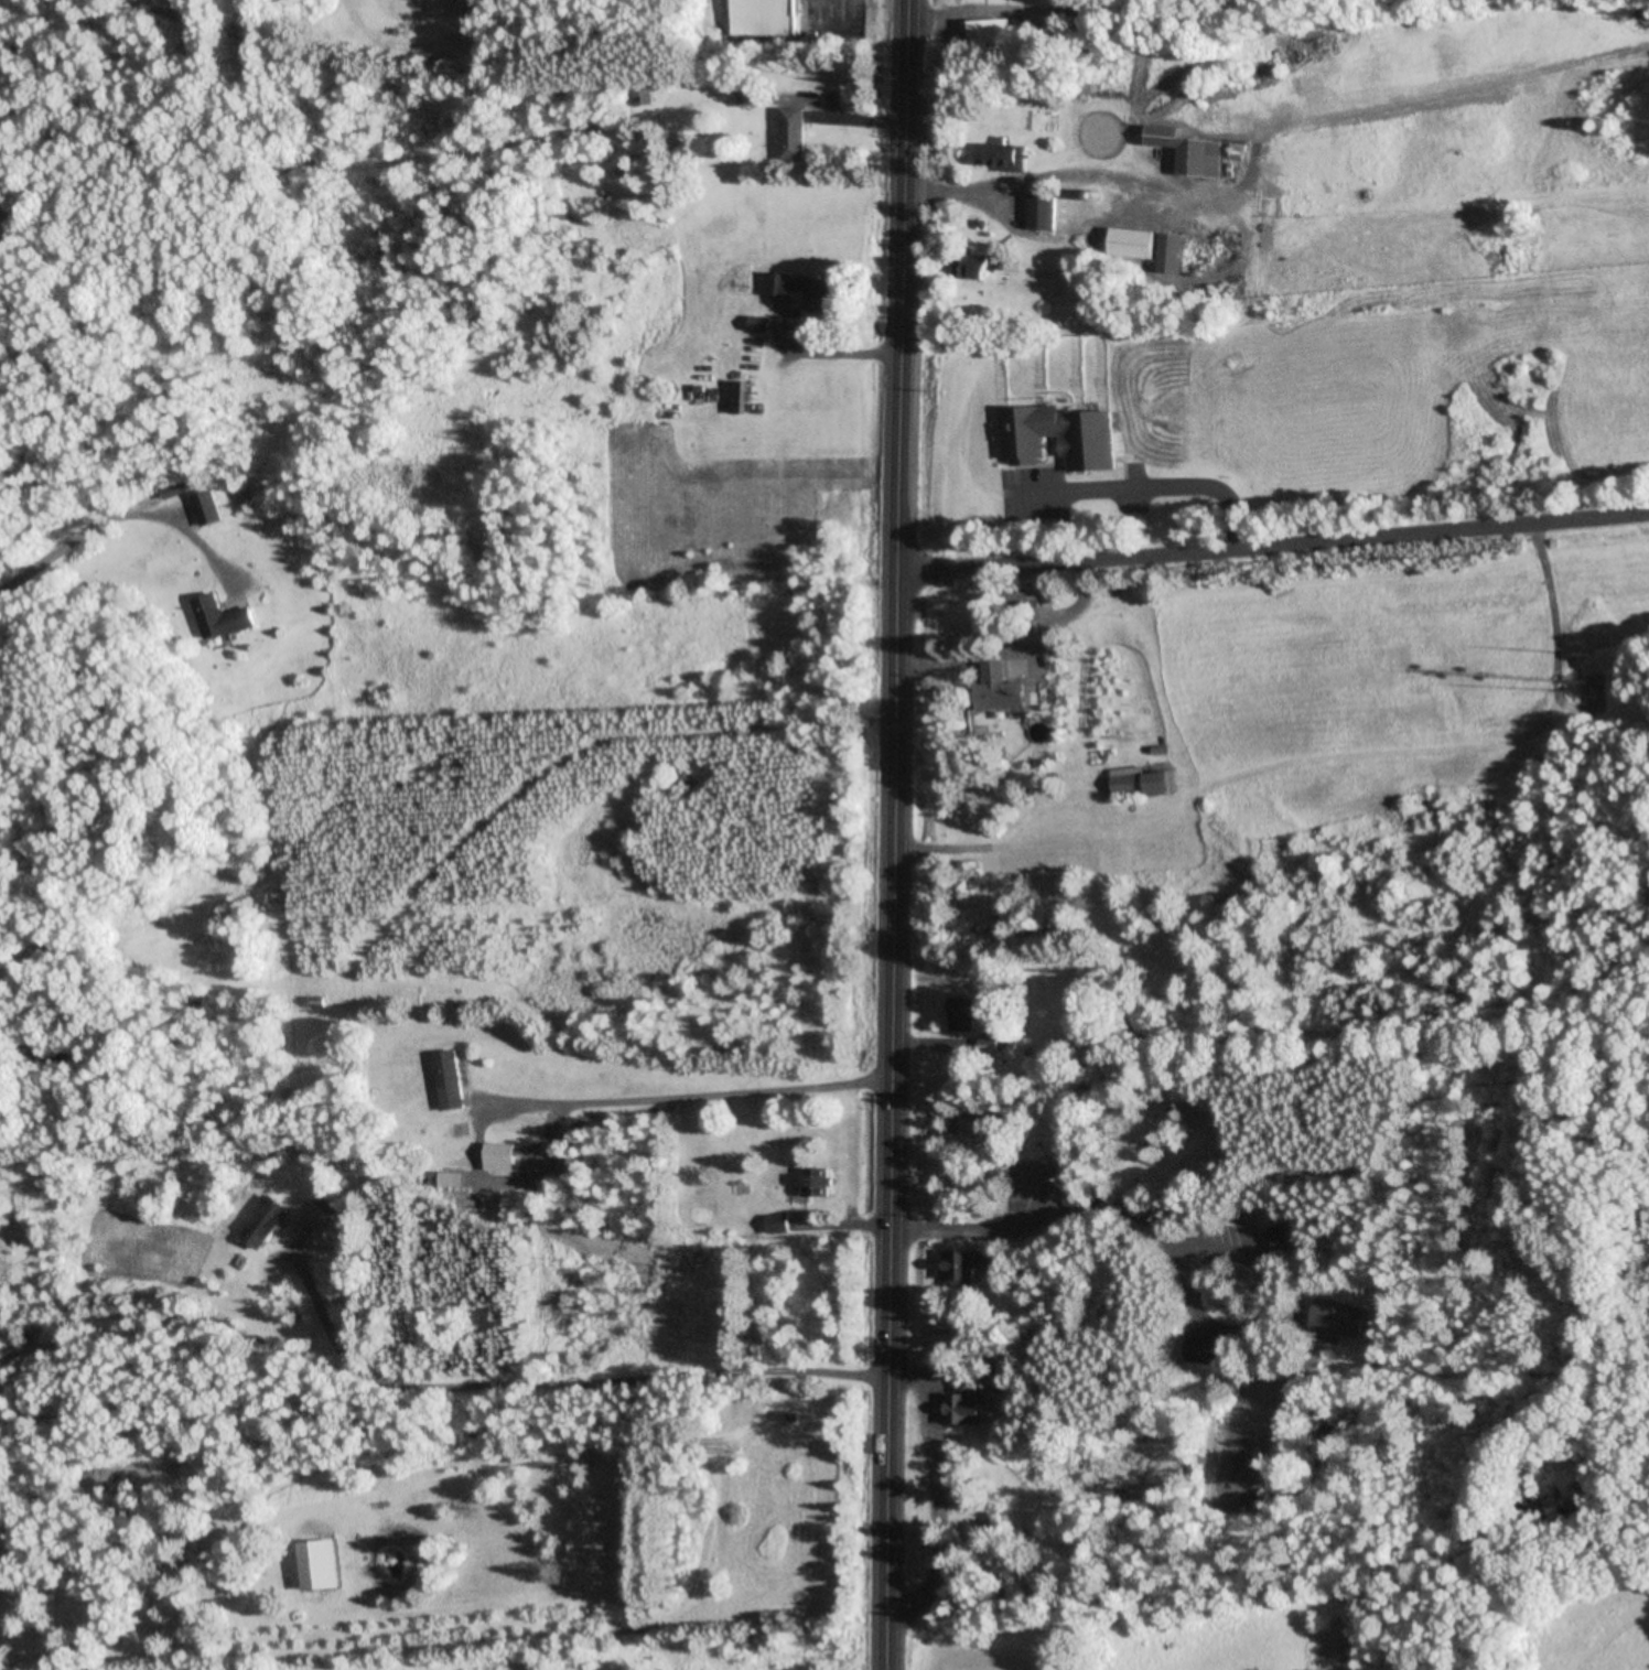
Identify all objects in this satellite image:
building: (770, 17)
building: (989, 31)
building: (644, 94)
building: (796, 134)
building: (1189, 151)
building: (1012, 157)
building: (1018, 198)
building: (1144, 204)
building: (1071, 208)
building: (1152, 248)
building: (1013, 263)
building: (977, 266)
building: (783, 284)
building: (822, 293)
building: (762, 324)
building: (752, 397)
building: (1065, 440)
road: (1143, 489)
building: (179, 491)
parking lot: (1073, 493)
building: (209, 508)
road: (1274, 539)
building: (225, 619)
building: (1004, 688)
building: (1144, 785)
road: (896, 834)
building: (317, 1002)
building: (964, 1014)
building: (989, 1046)
building: (452, 1080)
road: (1432, 1100)
building: (503, 1157)
building: (818, 1182)
building: (320, 1218)
building: (269, 1222)
building: (778, 1225)
building: (1275, 1239)
building: (962, 1267)
park: (1308, 1303)
building: (1339, 1319)
building: (1207, 1350)
building: (967, 1403)
road: (1280, 1562)
building: (323, 1565)

